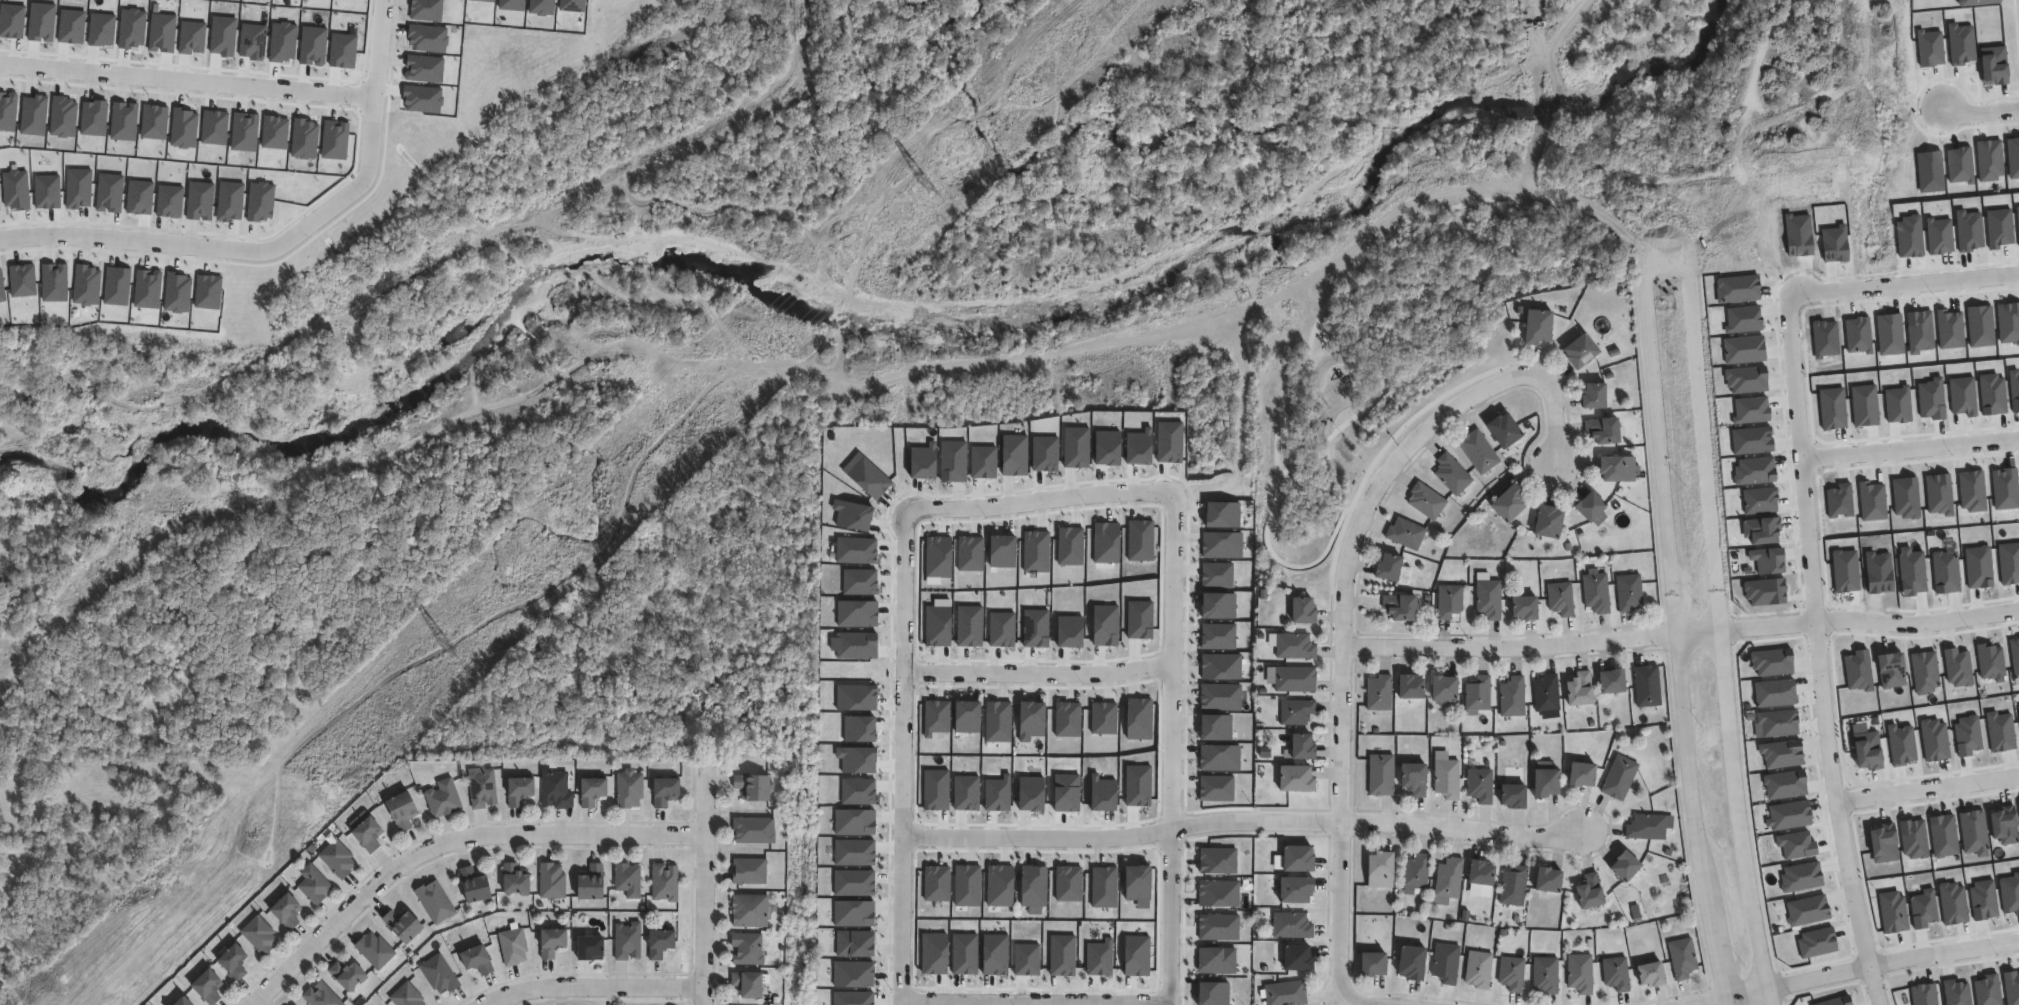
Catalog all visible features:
road: (243, 87)
road: (1980, 113)
power tower: (927, 186)
building: (15, 189)
park: (1408, 223)
road: (239, 257)
road: (1790, 305)
building: (1534, 327)
building: (1577, 351)
building: (1590, 396)
building: (1500, 431)
building: (1602, 431)
road: (1658, 442)
road: (1910, 449)
building: (1477, 451)
building: (1615, 469)
building: (1450, 475)
building: (1425, 501)
road: (1035, 502)
building: (1506, 504)
building: (1587, 507)
building: (1545, 523)
building: (1404, 534)
building: (1384, 568)
road: (1718, 590)
building: (1594, 593)
building: (1628, 593)
road: (1343, 596)
building: (1487, 599)
building: (1559, 599)
building: (1447, 602)
building: (1397, 608)
building: (1521, 609)
building: (1299, 611)
road: (1847, 621)
power tower: (447, 647)
building: (1293, 647)
road: (1509, 647)
road: (1167, 660)
road: (1033, 672)
road: (899, 674)
building: (1609, 679)
building: (1292, 680)
building: (1407, 685)
building: (1646, 685)
building: (1577, 687)
building: (1440, 688)
building: (1377, 692)
building: (1545, 692)
building: (1476, 693)
building: (1511, 696)
building: (1294, 713)
building: (1298, 748)
building: (1578, 773)
building: (1379, 774)
road: (1831, 774)
building: (1410, 777)
building: (1618, 777)
building: (1445, 778)
building: (1542, 779)
building: (1291, 781)
building: (1478, 785)
building: (751, 787)
building: (481, 788)
road: (1927, 788)
building: (555, 790)
building: (628, 790)
building: (518, 791)
building: (591, 791)
building: (664, 792)
building: (1510, 794)
building: (442, 799)
road: (1738, 810)
building: (401, 811)
road: (1693, 821)
road: (1242, 824)
building: (1645, 826)
building: (752, 831)
building: (366, 835)
road: (447, 843)
park: (140, 853)
building: (1294, 857)
building: (337, 859)
building: (1622, 865)
building: (1376, 869)
building: (748, 871)
building: (1477, 871)
building: (1413, 872)
building: (1545, 878)
building: (514, 879)
building: (551, 880)
building: (627, 880)
building: (1446, 880)
building: (590, 883)
building: (664, 883)
building: (313, 885)
building: (473, 885)
building: (1512, 885)
road: (703, 887)
building: (1291, 888)
building: (1587, 891)
building: (434, 902)
building: (286, 911)
building: (748, 911)
road: (900, 918)
road: (1165, 919)
building: (402, 925)
building: (1289, 925)
building: (259, 936)
building: (627, 941)
building: (551, 943)
building: (659, 943)
building: (513, 947)
building: (589, 948)
building: (746, 949)
building: (374, 950)
building: (1293, 956)
building: (1681, 957)
building: (476, 960)
building: (1408, 961)
building: (232, 962)
building: (1444, 962)
building: (1368, 963)
building: (1477, 969)
road: (1857, 969)
building: (1510, 973)
building: (1579, 973)
building: (1614, 973)
building: (1648, 973)
building: (1544, 974)
building: (346, 976)
building: (438, 976)
building: (747, 985)
building: (207, 987)
road: (592, 988)
building: (1283, 993)
building: (320, 995)
building: (406, 996)
road: (1772, 997)
road: (1034, 1000)
building: (182, 1002)
road: (1356, 1002)

